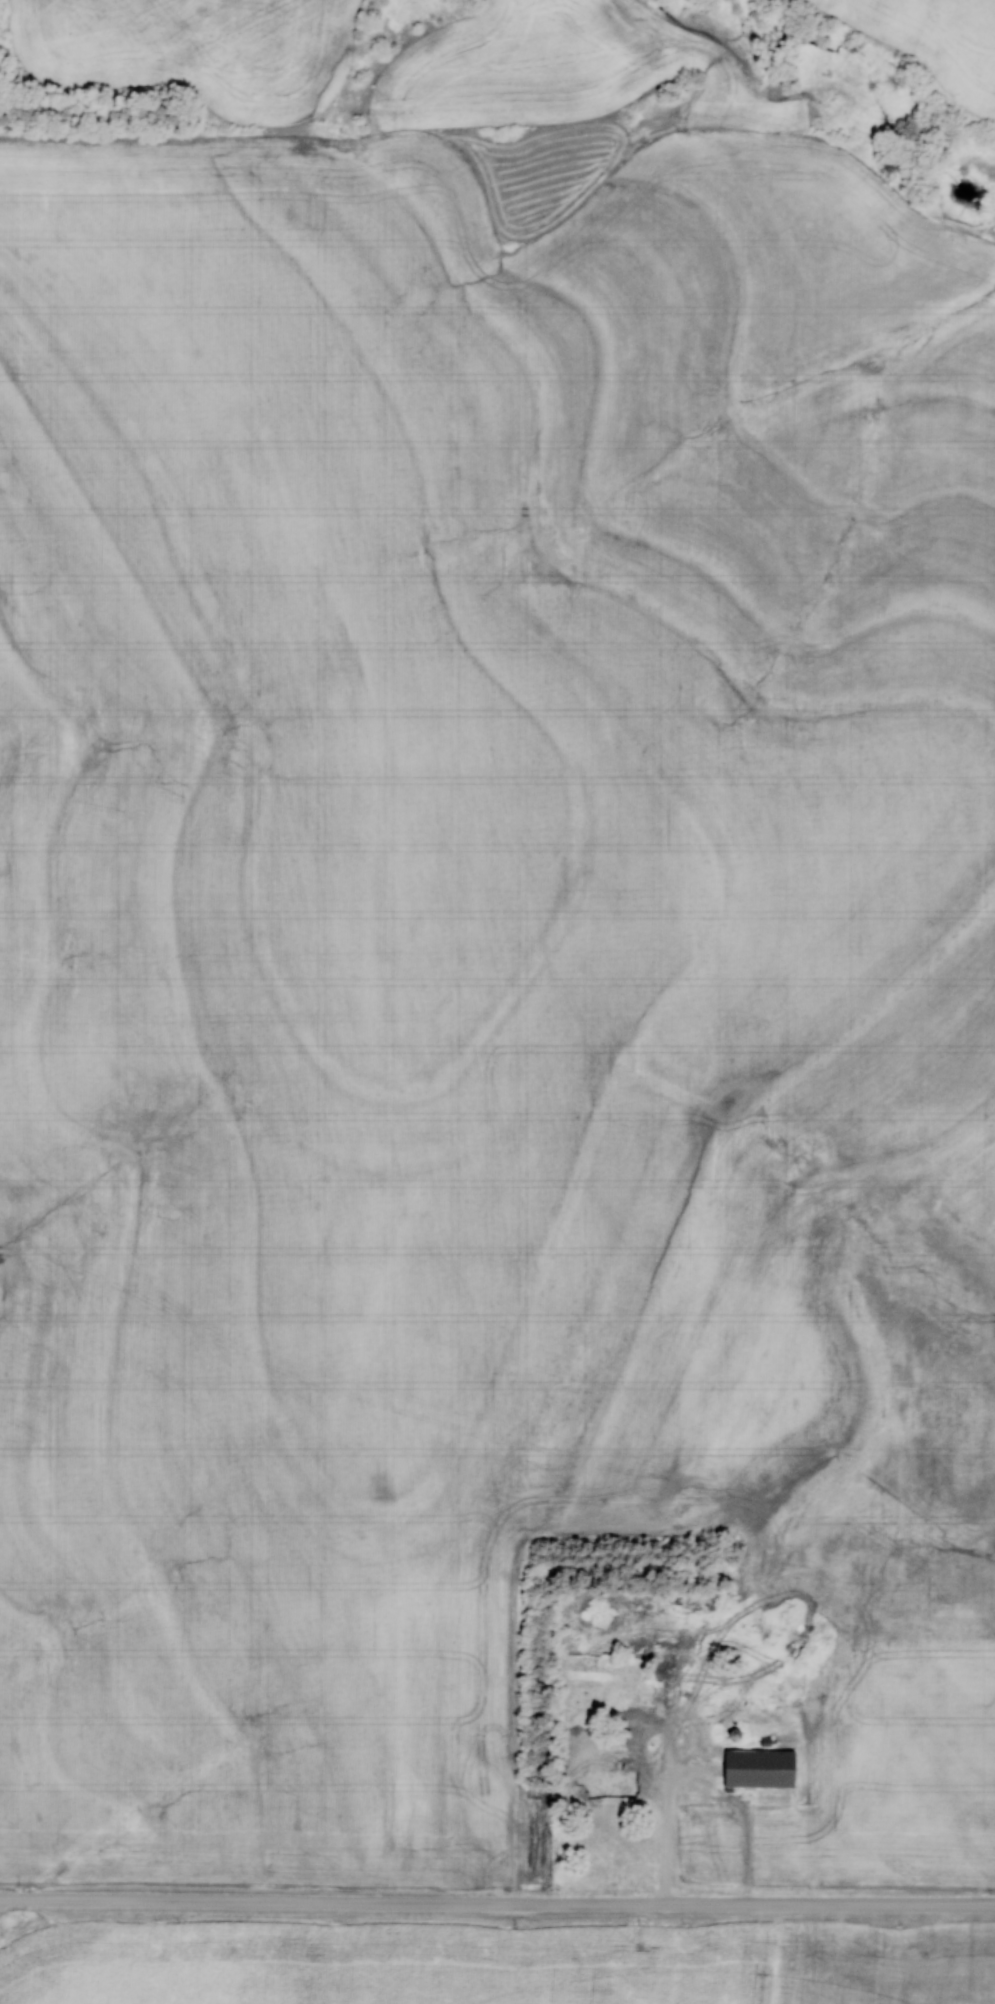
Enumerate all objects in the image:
building: (758, 1769)
building: (613, 1784)
road: (670, 1831)
road: (497, 1904)

